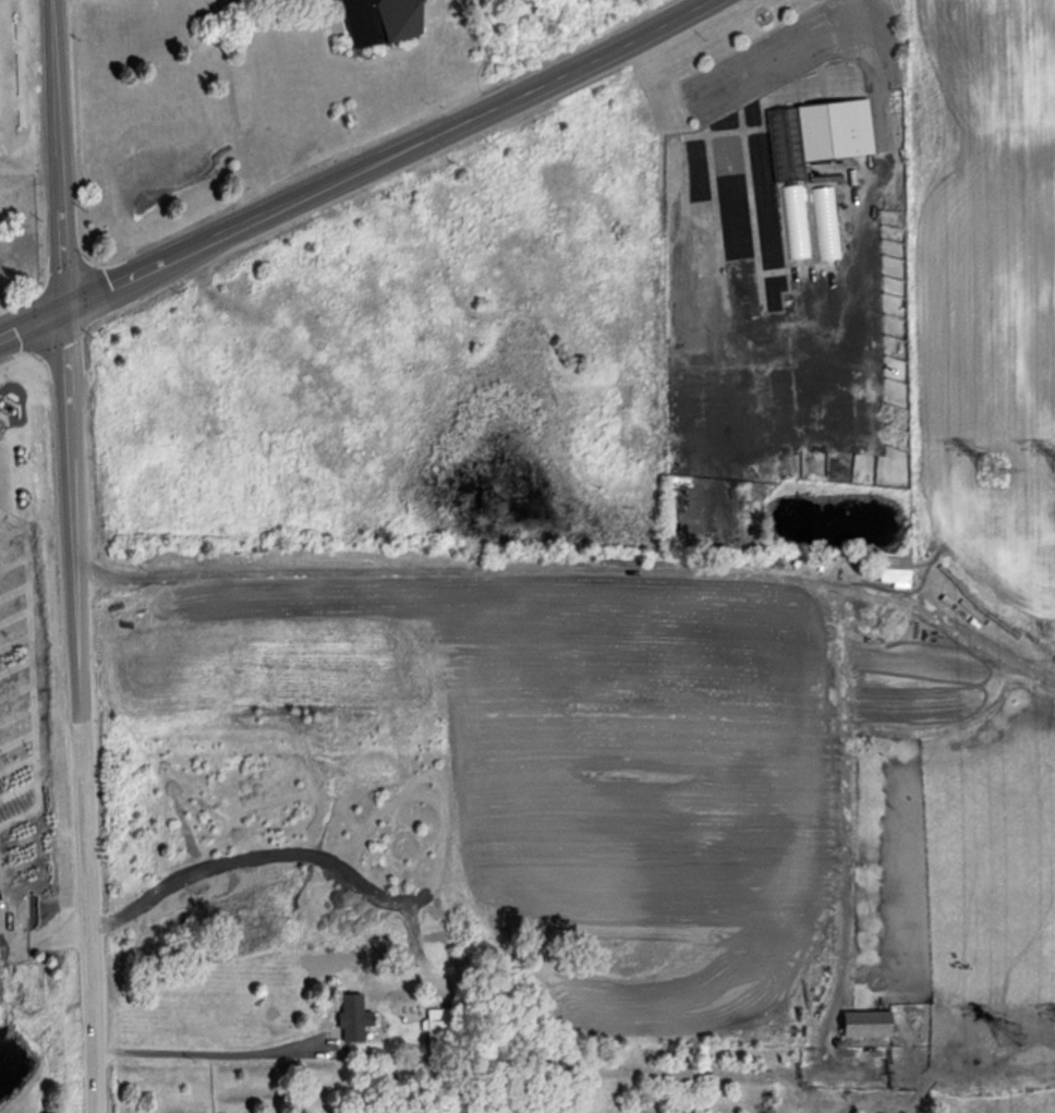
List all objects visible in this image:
building: (387, 19)
road: (812, 38)
road: (447, 133)
building: (815, 134)
road: (66, 154)
road: (874, 174)
building: (795, 220)
road: (125, 282)
traffic signals: (74, 307)
road: (37, 325)
power tower: (991, 471)
building: (894, 569)
road: (581, 572)
road: (90, 710)
building: (352, 1017)
building: (864, 1024)
building: (439, 1035)
power tower: (1009, 1037)
road: (218, 1053)

